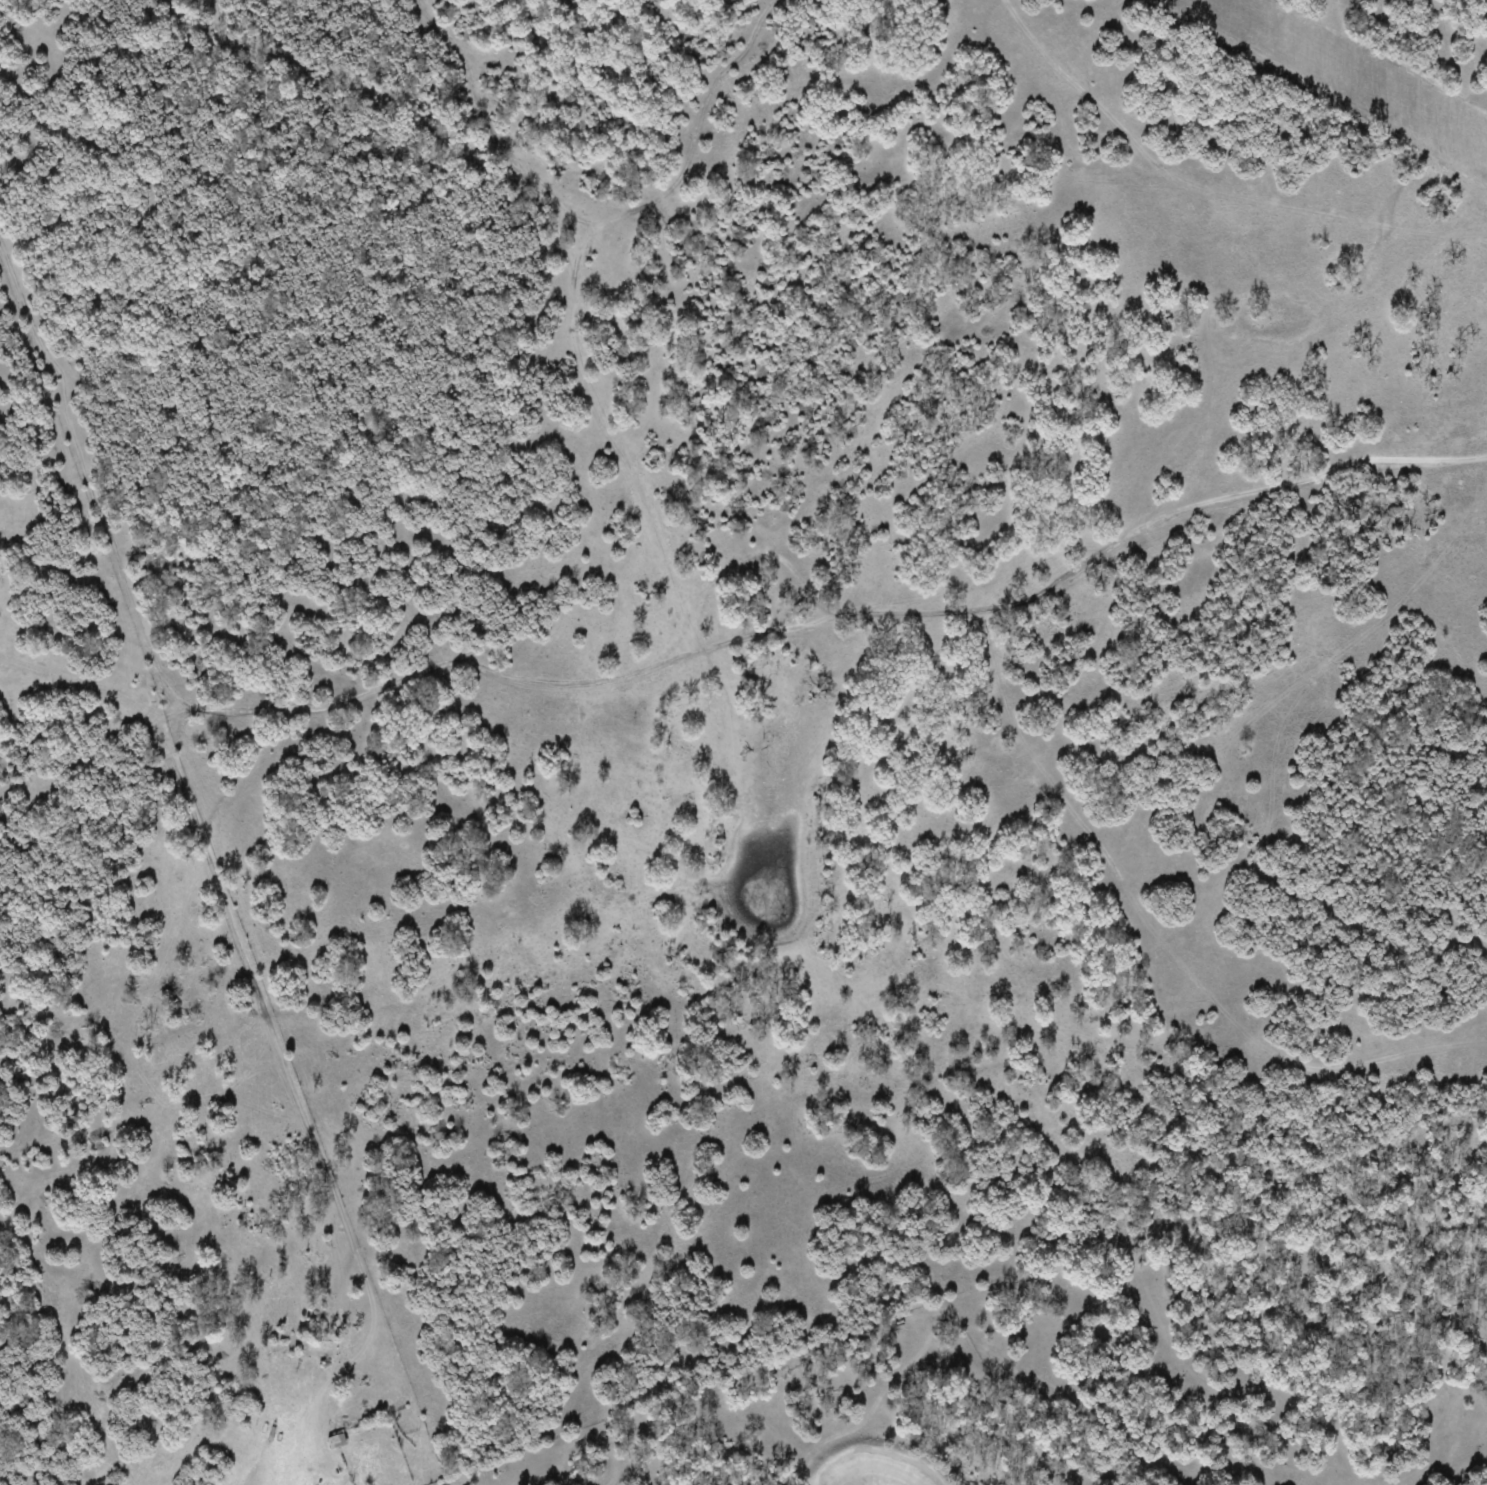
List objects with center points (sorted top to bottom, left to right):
quarry: (1300, 159)

